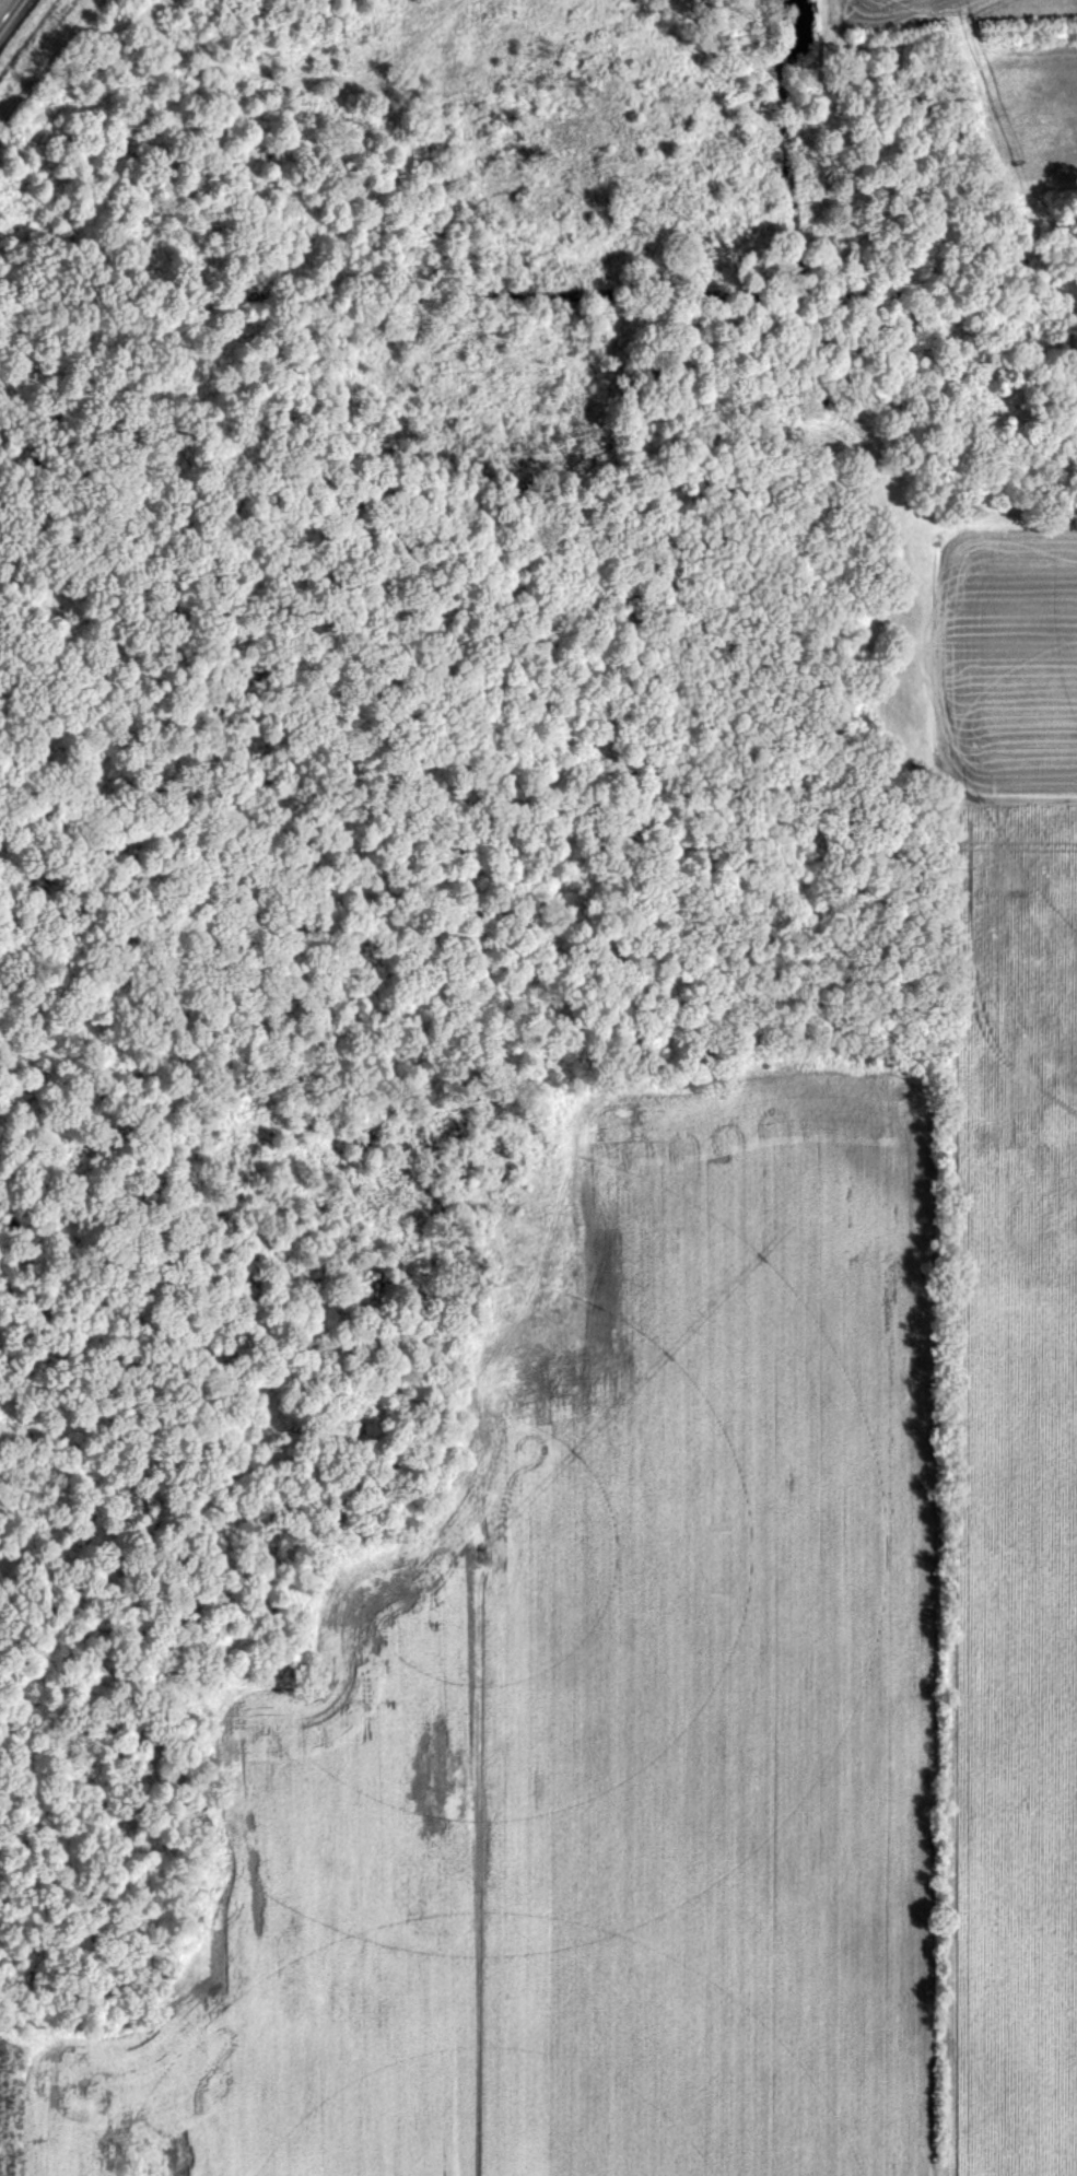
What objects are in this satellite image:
railway: (9, 12)

